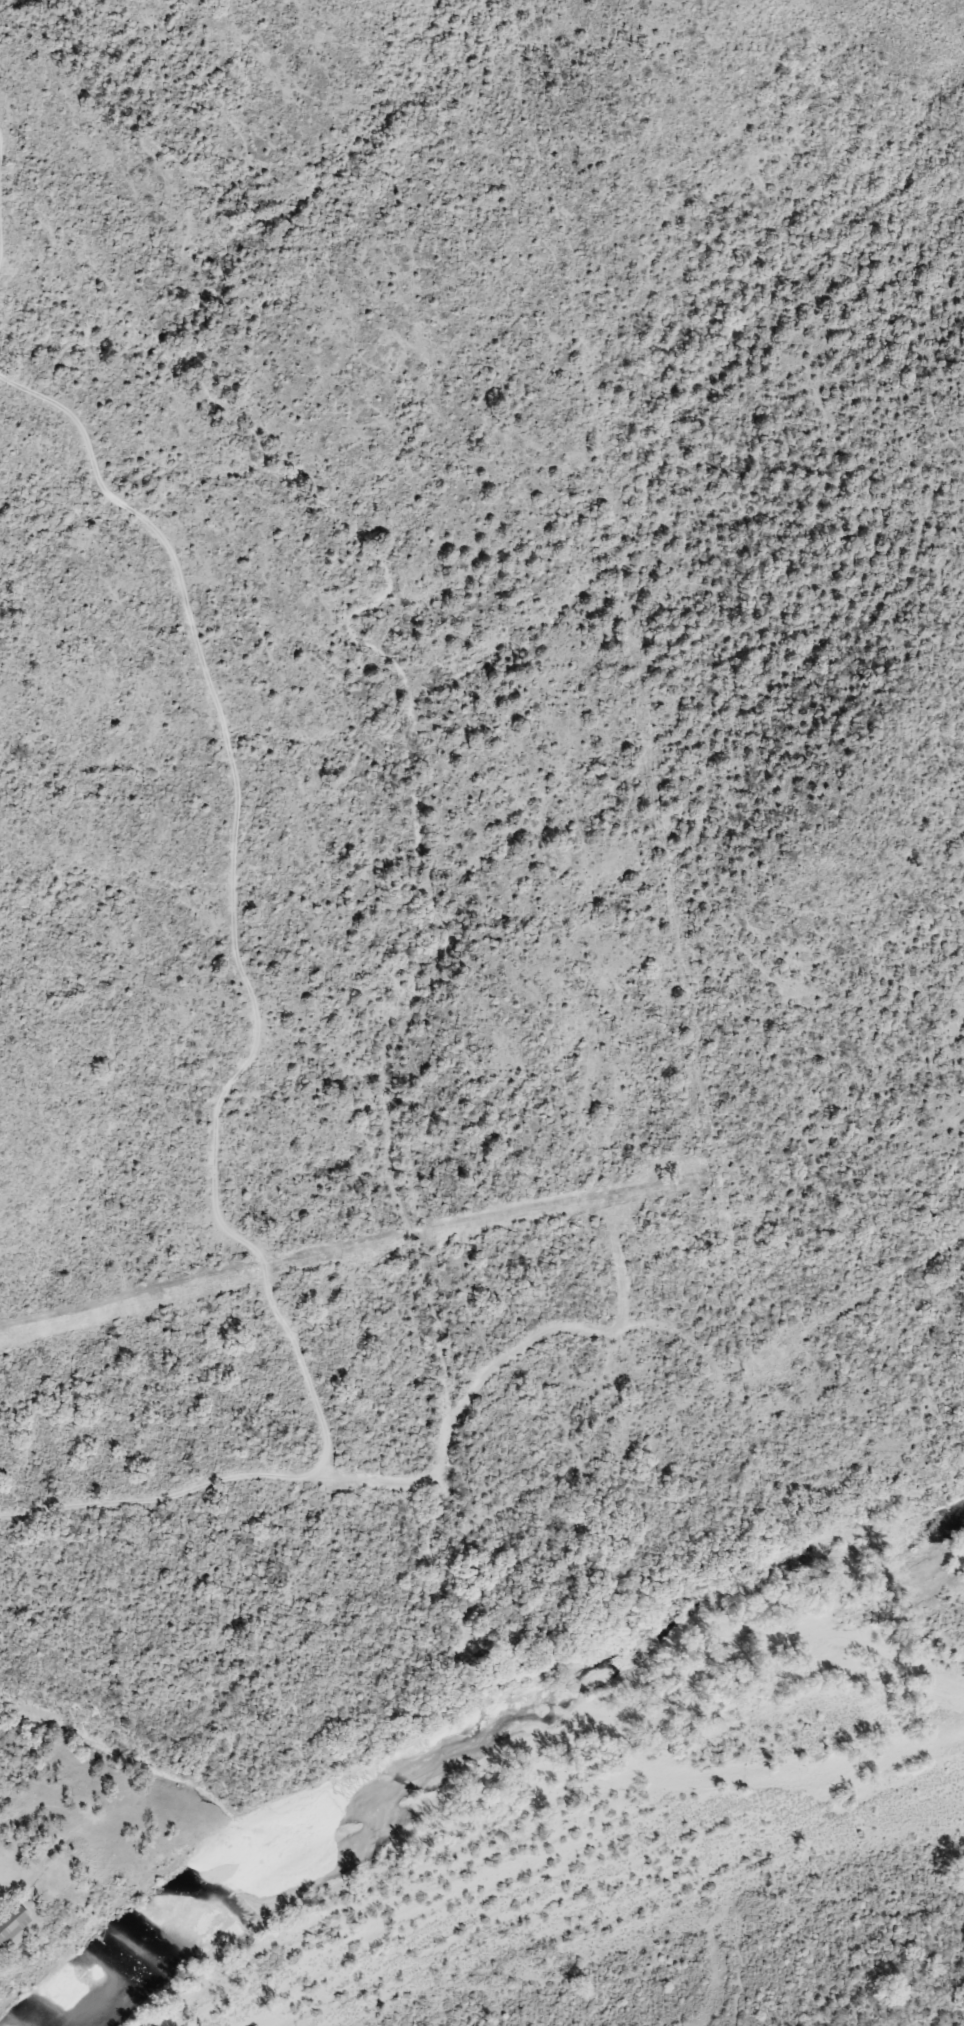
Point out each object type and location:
road: (3, 174)
road: (230, 907)
road: (482, 1385)
building: (11, 1925)

